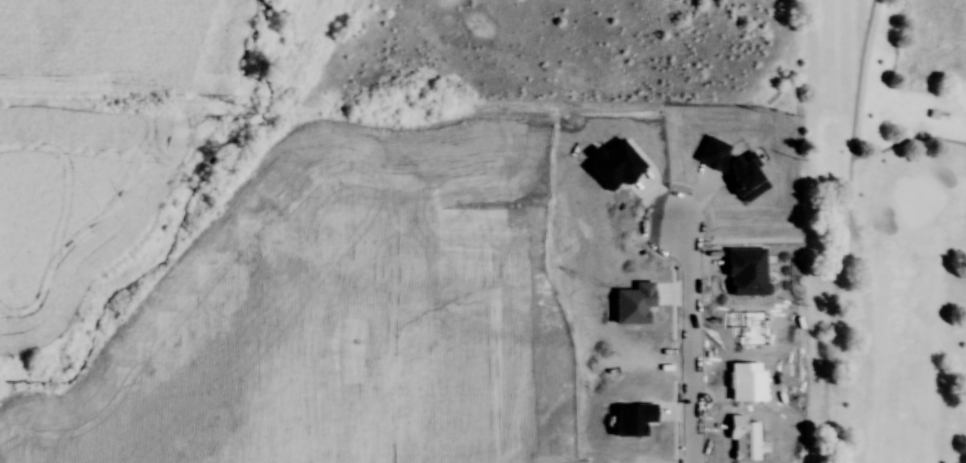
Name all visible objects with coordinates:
road: (852, 120)
road: (908, 141)
park: (883, 230)
crop: (326, 316)

